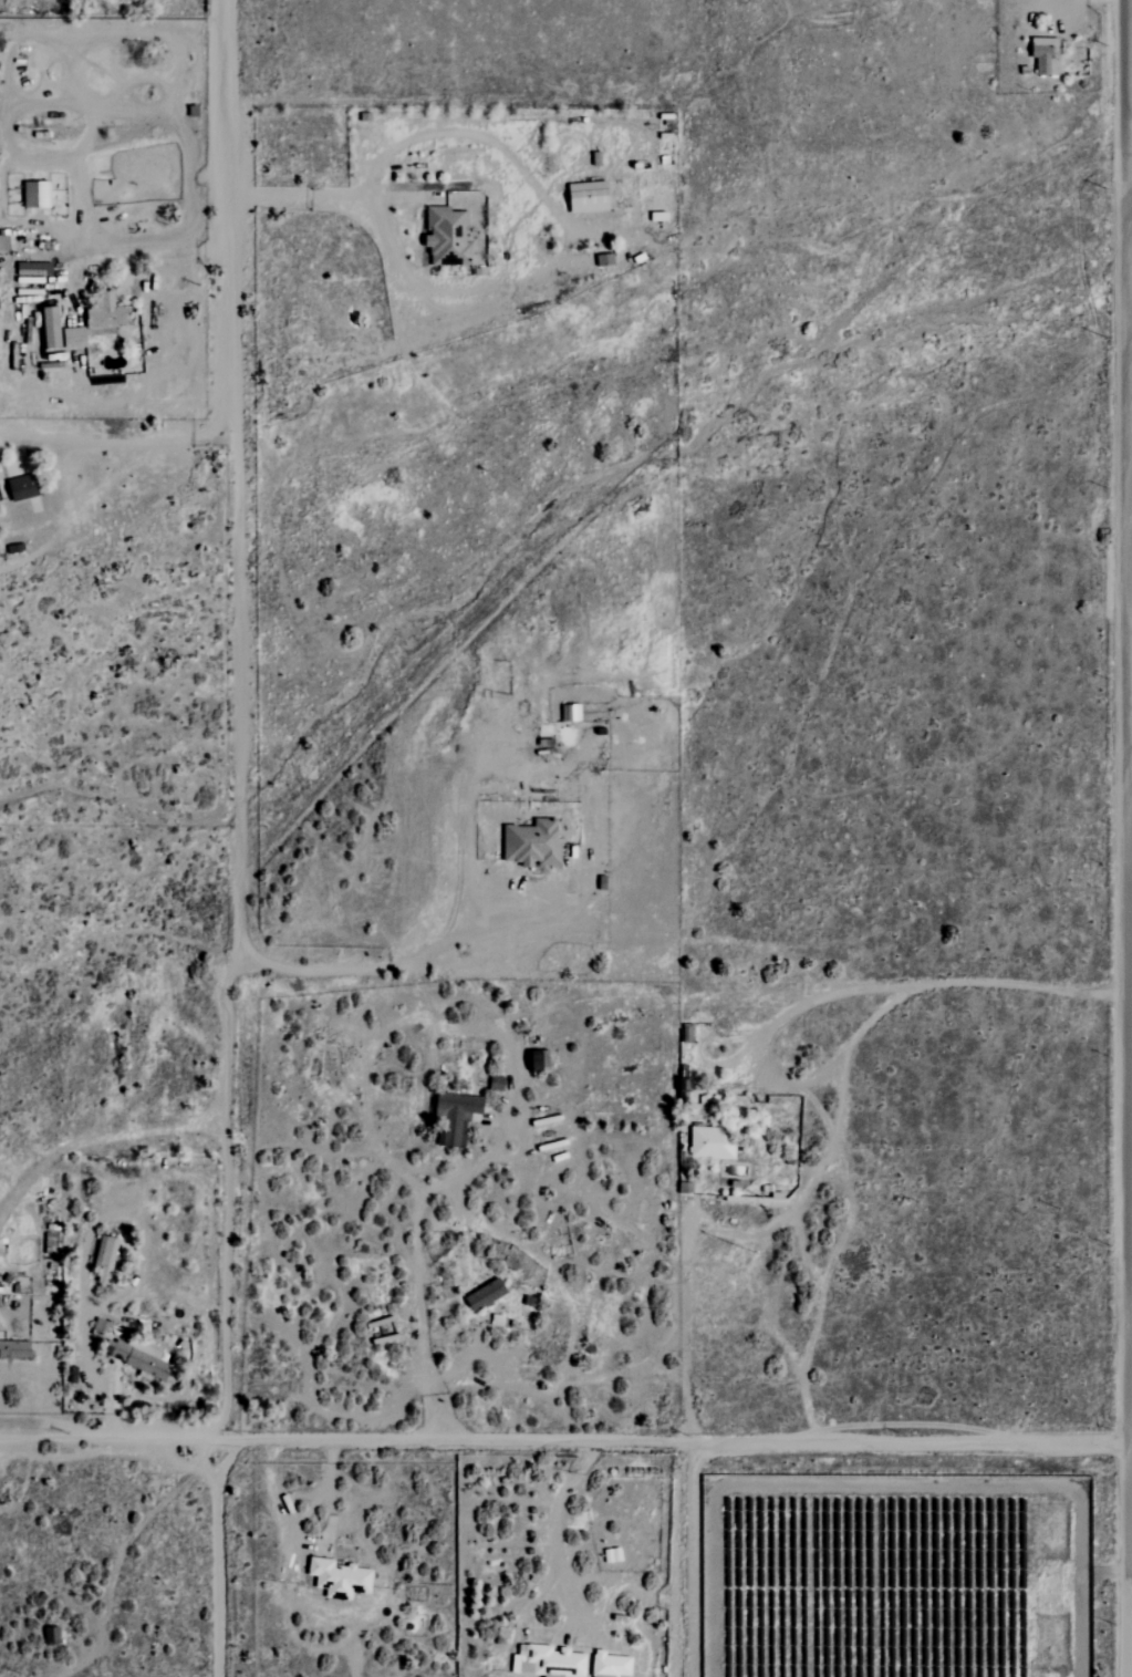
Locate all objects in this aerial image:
building: (1047, 55)
building: (37, 194)
road: (313, 197)
building: (590, 197)
building: (448, 237)
building: (3, 241)
road: (174, 255)
building: (97, 322)
building: (52, 328)
road: (144, 443)
road: (238, 475)
building: (23, 487)
building: (0, 498)
building: (571, 713)
road: (1125, 838)
building: (533, 843)
road: (500, 923)
road: (769, 1011)
building: (541, 1060)
building: (685, 1090)
road: (839, 1091)
building: (456, 1117)
road: (528, 1122)
building: (713, 1142)
road: (222, 1194)
building: (106, 1257)
building: (486, 1294)
building: (14, 1349)
building: (139, 1356)
road: (96, 1378)
road: (565, 1441)
road: (299, 1498)
road: (141, 1525)
road: (557, 1530)
road: (219, 1559)
road: (675, 1559)
building: (340, 1577)
building: (549, 1662)
building: (612, 1665)

